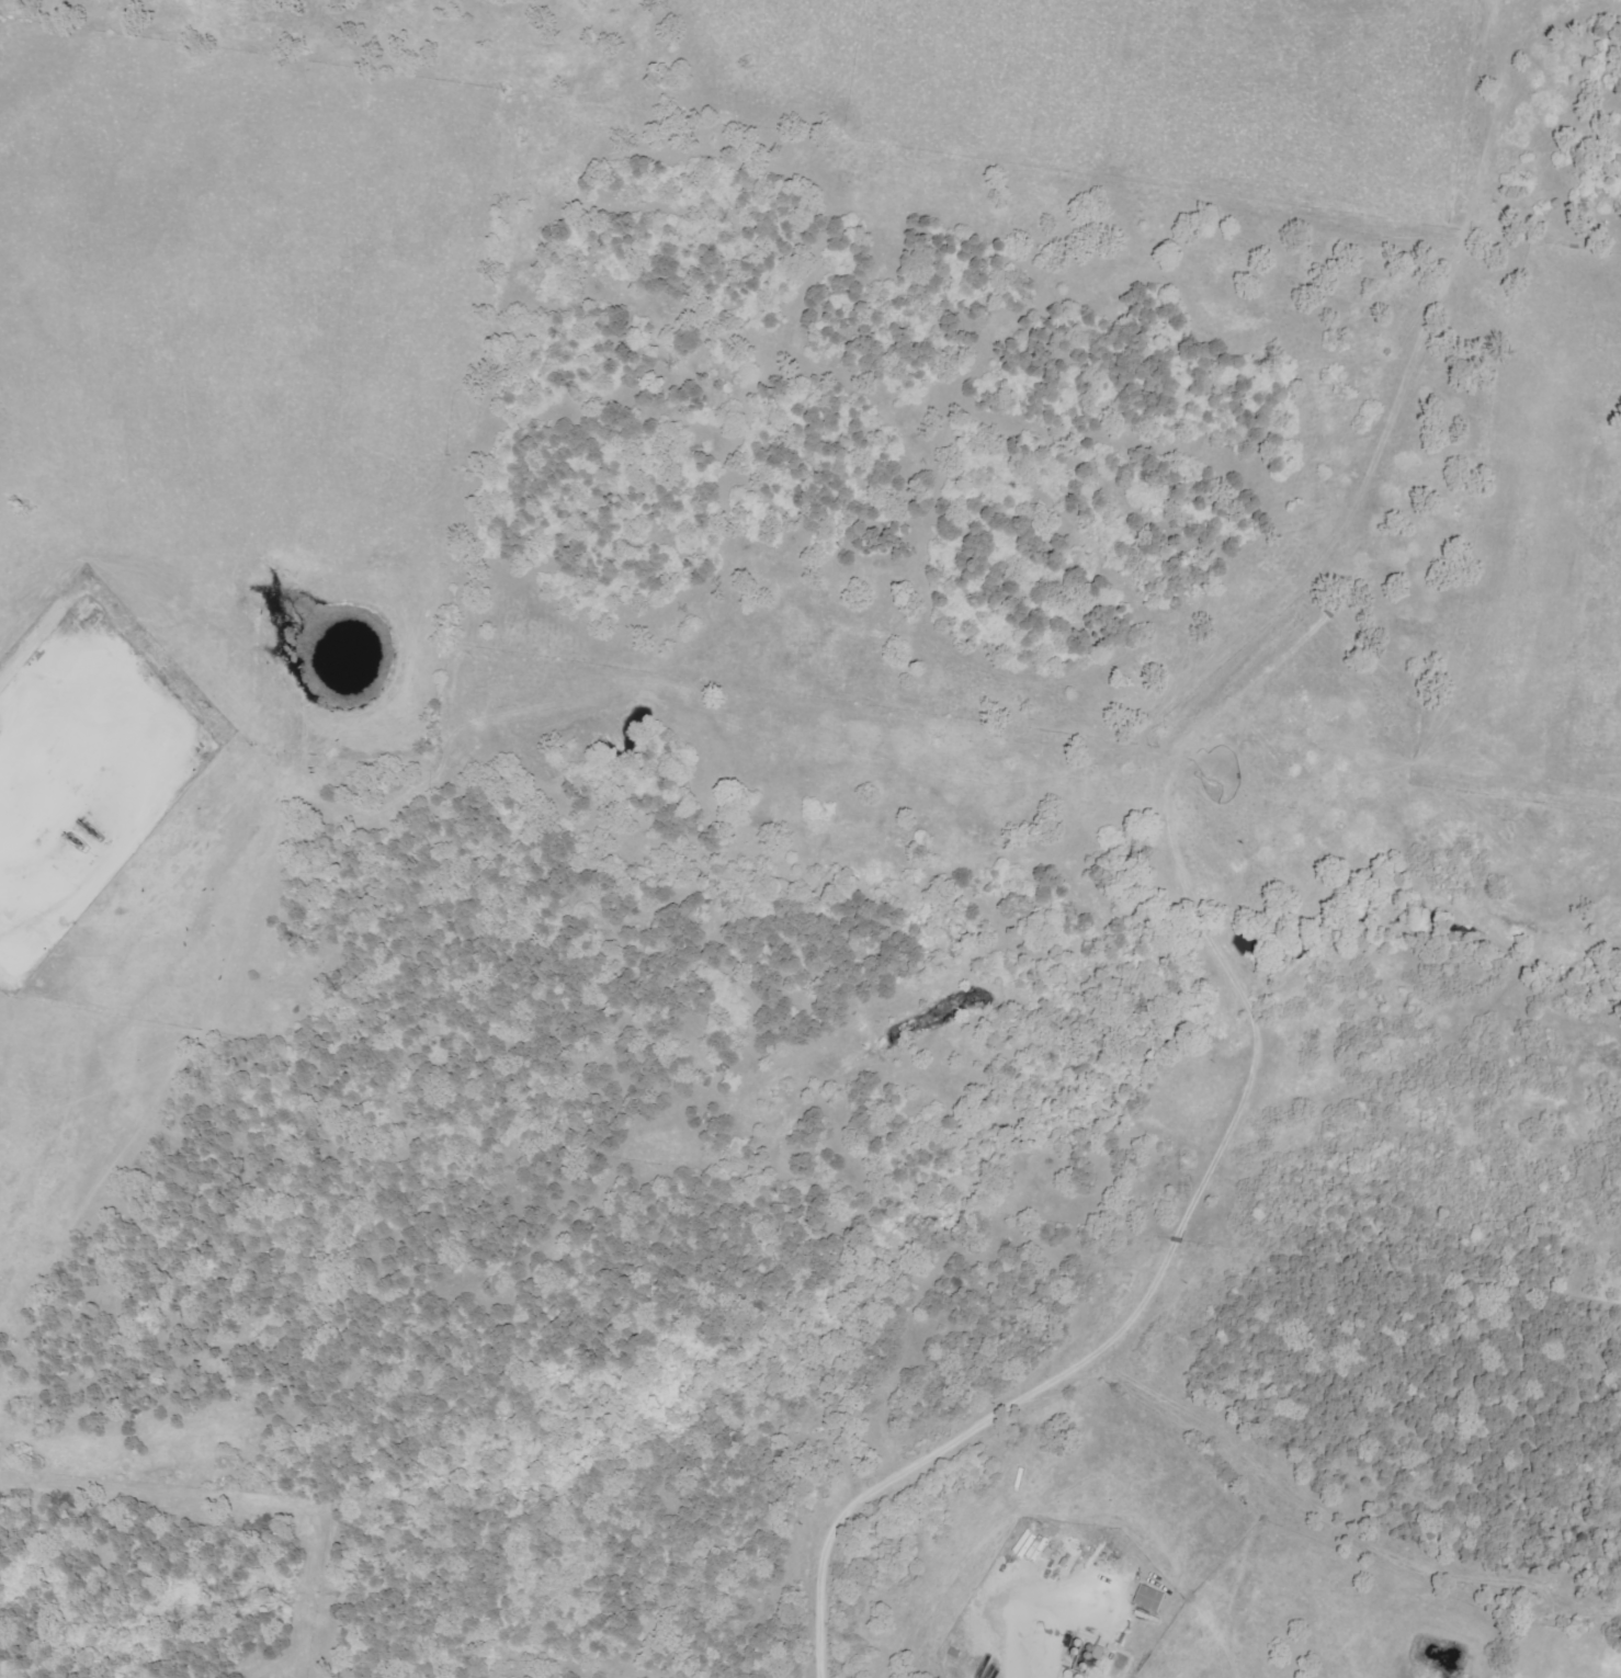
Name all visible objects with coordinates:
building: (1149, 1600)
road: (1029, 1666)

